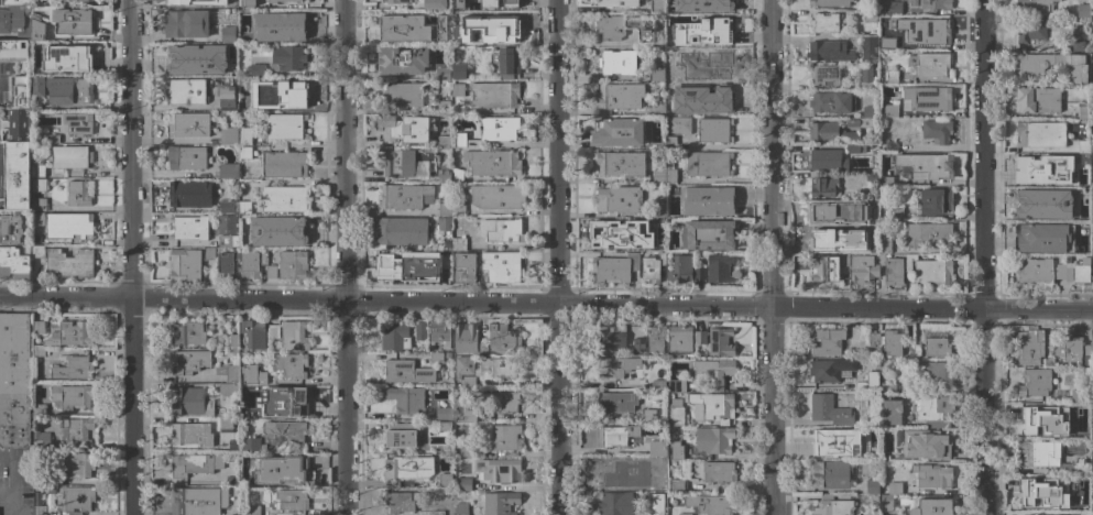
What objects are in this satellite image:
building: (72, 0)
building: (187, 0)
building: (283, 0)
building: (14, 2)
building: (401, 2)
building: (616, 2)
building: (828, 2)
building: (230, 3)
building: (247, 3)
building: (458, 3)
building: (489, 3)
building: (510, 3)
building: (434, 4)
building: (711, 4)
building: (934, 4)
building: (669, 6)
building: (1034, 6)
building: (656, 7)
building: (1092, 8)
building: (894, 10)
building: (1083, 11)
building: (249, 15)
building: (870, 15)
building: (15, 21)
building: (72, 21)
building: (824, 22)
building: (186, 24)
building: (503, 25)
building: (402, 26)
building: (284, 28)
building: (624, 28)
building: (36, 29)
building: (710, 29)
building: (934, 30)
building: (1030, 31)
building: (228, 34)
building: (468, 37)
building: (444, 39)
building: (670, 41)
building: (430, 42)
building: (897, 43)
building: (1092, 44)
building: (1078, 45)
building: (867, 47)
building: (13, 48)
building: (829, 51)
building: (68, 55)
building: (186, 55)
building: (288, 58)
building: (227, 59)
building: (405, 59)
building: (503, 61)
building: (616, 62)
building: (718, 64)
building: (931, 65)
building: (36, 68)
building: (254, 69)
building: (442, 69)
building: (458, 70)
building: (1030, 72)
building: (656, 74)
building: (826, 74)
building: (678, 76)
building: (892, 76)
building: (864, 77)
building: (37, 86)
building: (457, 89)
building: (68, 90)
building: (19, 91)
building: (186, 91)
building: (282, 92)
building: (404, 95)
building: (494, 95)
building: (226, 97)
building: (617, 97)
building: (710, 97)
building: (671, 98)
building: (927, 98)
building: (1037, 100)
building: (831, 102)
building: (243, 106)
building: (442, 107)
building: (658, 107)
building: (888, 110)
building: (868, 111)
building: (1084, 111)
building: (860, 122)
building: (18, 124)
building: (76, 124)
building: (187, 124)
building: (678, 124)
building: (284, 127)
building: (402, 129)
building: (713, 130)
building: (619, 131)
building: (936, 131)
building: (489, 132)
building: (830, 133)
building: (231, 134)
building: (1040, 134)
building: (244, 136)
building: (52, 139)
building: (444, 141)
building: (658, 141)
building: (670, 143)
building: (889, 145)
building: (1092, 145)
building: (1084, 146)
building: (855, 149)
building: (244, 153)
road: (981, 153)
building: (70, 157)
building: (186, 157)
building: (827, 160)
building: (406, 162)
building: (492, 163)
building: (620, 164)
building: (708, 164)
building: (283, 165)
building: (927, 165)
building: (1034, 167)
building: (36, 171)
building: (228, 171)
building: (445, 173)
building: (15, 175)
building: (457, 175)
building: (658, 175)
building: (670, 176)
building: (871, 176)
building: (1073, 182)
building: (824, 187)
building: (675, 190)
building: (77, 193)
building: (861, 193)
building: (189, 194)
building: (1092, 194)
building: (39, 195)
building: (404, 196)
building: (496, 197)
building: (284, 198)
building: (711, 198)
building: (619, 199)
building: (934, 201)
building: (1036, 201)
building: (868, 205)
building: (228, 207)
building: (244, 207)
building: (444, 209)
building: (458, 209)
building: (671, 209)
building: (658, 210)
building: (896, 212)
building: (831, 213)
building: (1082, 213)
building: (37, 218)
building: (227, 224)
building: (444, 224)
building: (68, 226)
building: (189, 227)
building: (10, 229)
building: (288, 229)
building: (501, 230)
building: (402, 231)
building: (615, 233)
building: (708, 234)
building: (927, 234)
building: (1038, 234)
building: (835, 235)
building: (657, 239)
building: (254, 240)
building: (228, 241)
building: (458, 242)
building: (448, 244)
building: (1075, 244)
building: (868, 246)
building: (885, 246)
building: (1092, 250)
building: (37, 251)
building: (209, 252)
road: (132, 256)
road: (345, 256)
road: (558, 256)
road: (769, 257)
building: (843, 260)
building: (14, 261)
building: (69, 263)
building: (292, 264)
building: (184, 265)
building: (226, 265)
building: (248, 265)
building: (400, 265)
building: (267, 266)
building: (437, 266)
building: (500, 266)
building: (652, 267)
building: (719, 267)
building: (824, 267)
building: (470, 269)
building: (614, 269)
building: (863, 269)
building: (1079, 269)
building: (679, 270)
building: (1034, 270)
building: (892, 271)
building: (929, 271)
building: (1060, 272)
building: (699, 273)
building: (1092, 282)
road: (437, 303)
road: (928, 306)
road: (1037, 308)
building: (37, 327)
building: (420, 330)
building: (273, 331)
building: (74, 333)
building: (188, 333)
building: (253, 333)
building: (439, 333)
building: (295, 335)
building: (395, 336)
building: (464, 338)
building: (502, 338)
building: (611, 338)
building: (655, 338)
building: (679, 338)
building: (700, 338)
building: (874, 339)
building: (720, 341)
building: (827, 342)
building: (231, 343)
building: (890, 343)
building: (1092, 343)
building: (638, 346)
building: (937, 347)
building: (1028, 347)
building: (482, 348)
building: (917, 350)
building: (1069, 350)
building: (39, 353)
building: (436, 355)
building: (1086, 357)
building: (188, 361)
building: (289, 364)
building: (462, 366)
building: (615, 366)
building: (72, 368)
building: (498, 368)
building: (229, 371)
building: (823, 371)
building: (406, 372)
building: (713, 372)
building: (936, 372)
building: (252, 375)
building: (14, 381)
building: (468, 382)
building: (1035, 383)
building: (657, 384)
building: (868, 384)
building: (675, 385)
building: (889, 387)
building: (228, 390)
building: (72, 395)
building: (1079, 395)
building: (405, 399)
building: (499, 399)
building: (288, 401)
building: (190, 402)
building: (615, 403)
building: (711, 406)
building: (40, 410)
building: (829, 410)
building: (933, 410)
road: (981, 410)
building: (892, 412)
building: (444, 413)
building: (675, 413)
building: (249, 414)
building: (469, 416)
building: (648, 416)
building: (1034, 417)
building: (225, 421)
building: (444, 426)
building: (75, 430)
building: (1079, 430)
building: (285, 431)
building: (192, 435)
building: (615, 436)
building: (505, 437)
building: (41, 438)
building: (401, 439)
building: (713, 439)
building: (232, 440)
building: (933, 442)
building: (835, 443)
building: (250, 445)
building: (657, 448)
building: (467, 450)
building: (676, 450)
building: (889, 450)
building: (1037, 452)
building: (76, 464)
building: (194, 464)
building: (407, 467)
building: (1081, 468)
building: (1092, 468)
building: (281, 469)
building: (499, 470)
building: (619, 470)
building: (828, 474)
building: (718, 476)
building: (933, 476)
building: (445, 480)
building: (232, 481)
building: (39, 483)
building: (463, 484)
building: (658, 484)
building: (677, 485)
building: (872, 486)
building: (894, 489)
building: (1036, 491)
building: (77, 498)
building: (291, 500)
building: (871, 500)
building: (197, 501)
building: (404, 502)
building: (1082, 502)
building: (500, 503)
building: (614, 504)
building: (656, 504)
building: (710, 504)
building: (832, 505)
building: (885, 505)
building: (933, 506)
building: (39, 508)
building: (460, 508)
building: (253, 509)
building: (437, 513)
building: (685, 514)
building: (1058, 514)

